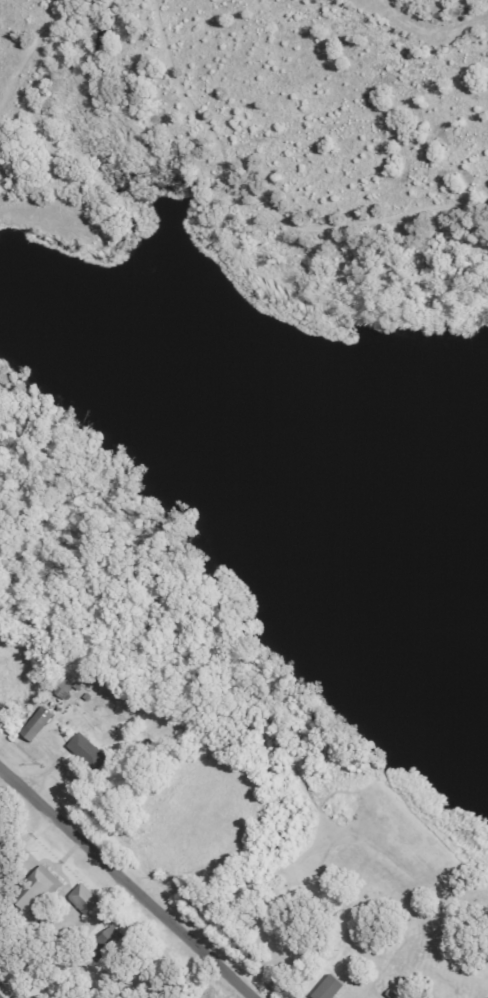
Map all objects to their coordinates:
building: (60, 686)
building: (31, 726)
building: (83, 753)
building: (40, 874)
road: (130, 881)
park: (319, 893)
building: (79, 899)
building: (105, 942)
building: (324, 988)

